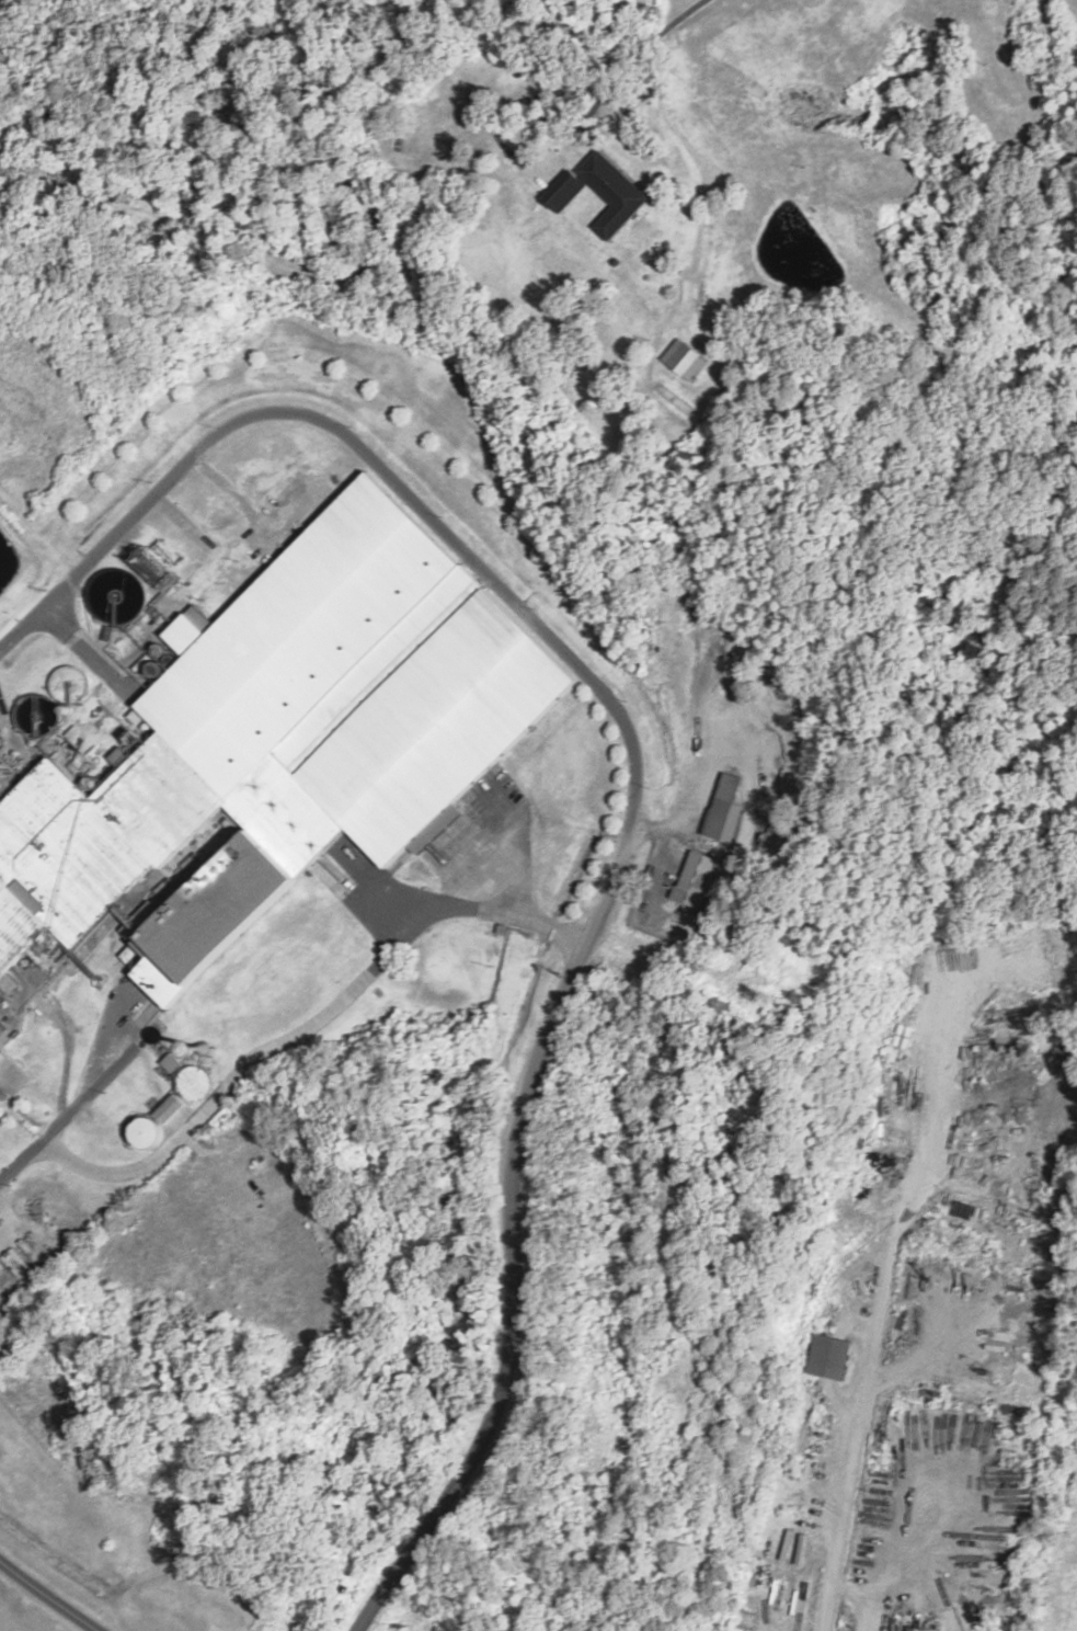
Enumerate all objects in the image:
road: (431, 192)
road: (468, 561)
building: (289, 721)
building: (723, 806)
building: (694, 879)
building: (0, 989)
building: (0, 1025)
road: (310, 1031)
building: (168, 1063)
building: (191, 1083)
road: (76, 1104)
building: (935, 1262)
building: (823, 1357)
road: (506, 1384)
road: (49, 1595)
building: (913, 1629)

